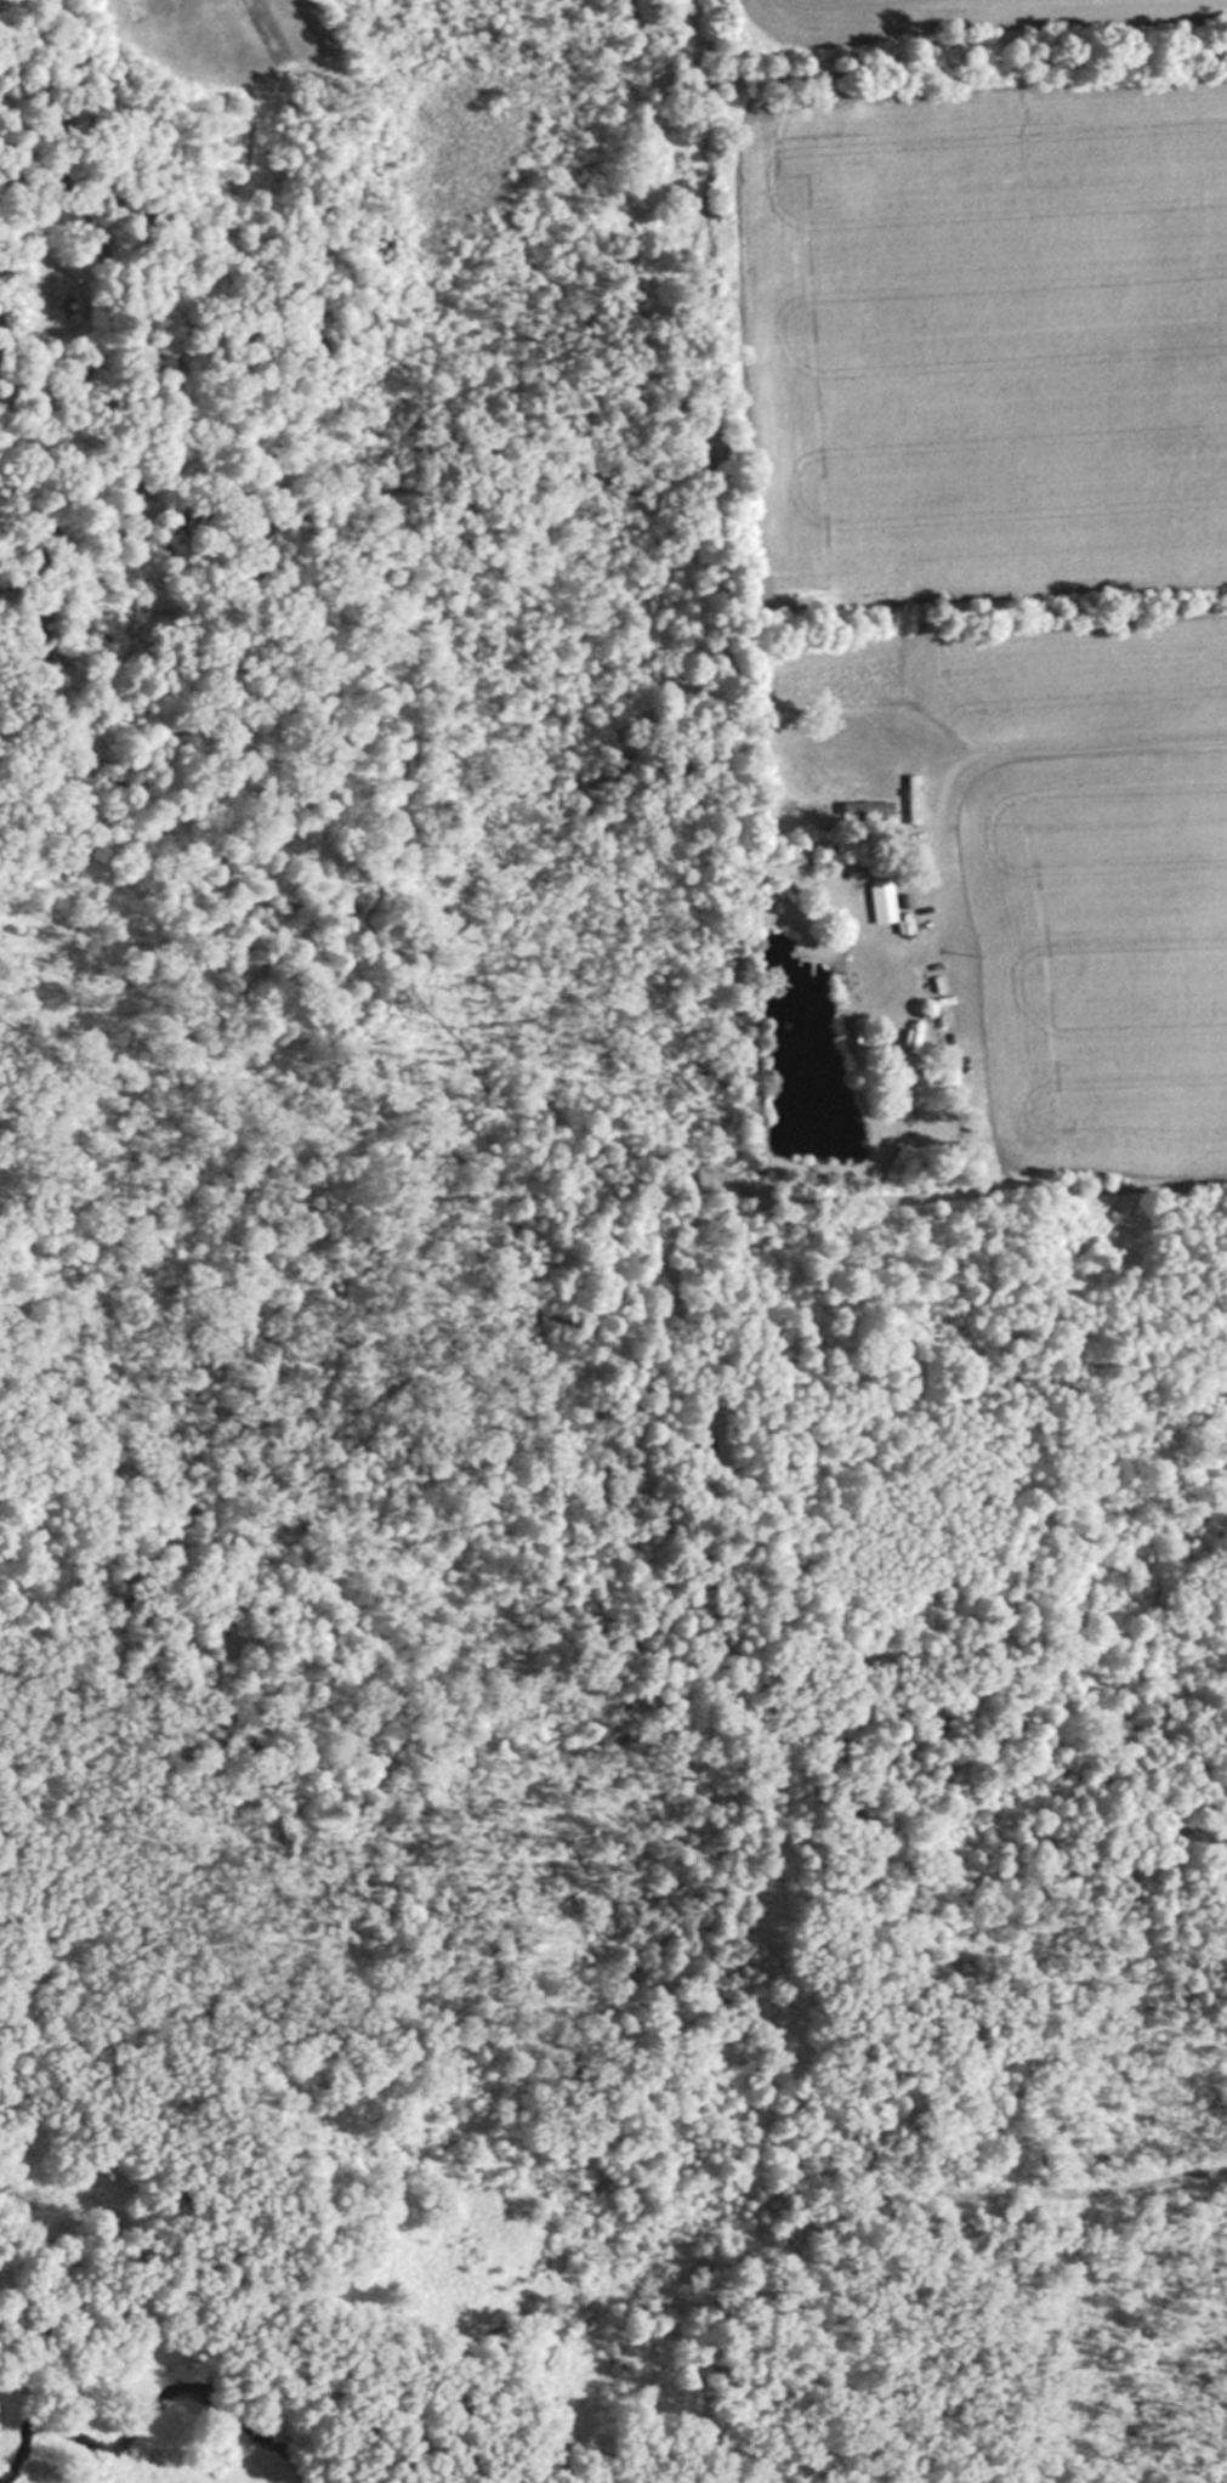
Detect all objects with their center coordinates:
building: (911, 799)
building: (802, 809)
building: (865, 809)
building: (881, 902)

